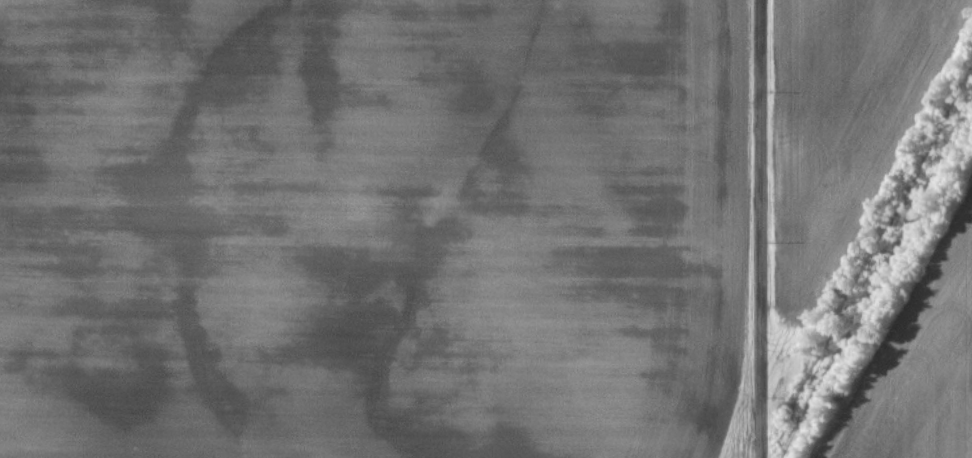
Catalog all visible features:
road: (762, 229)

